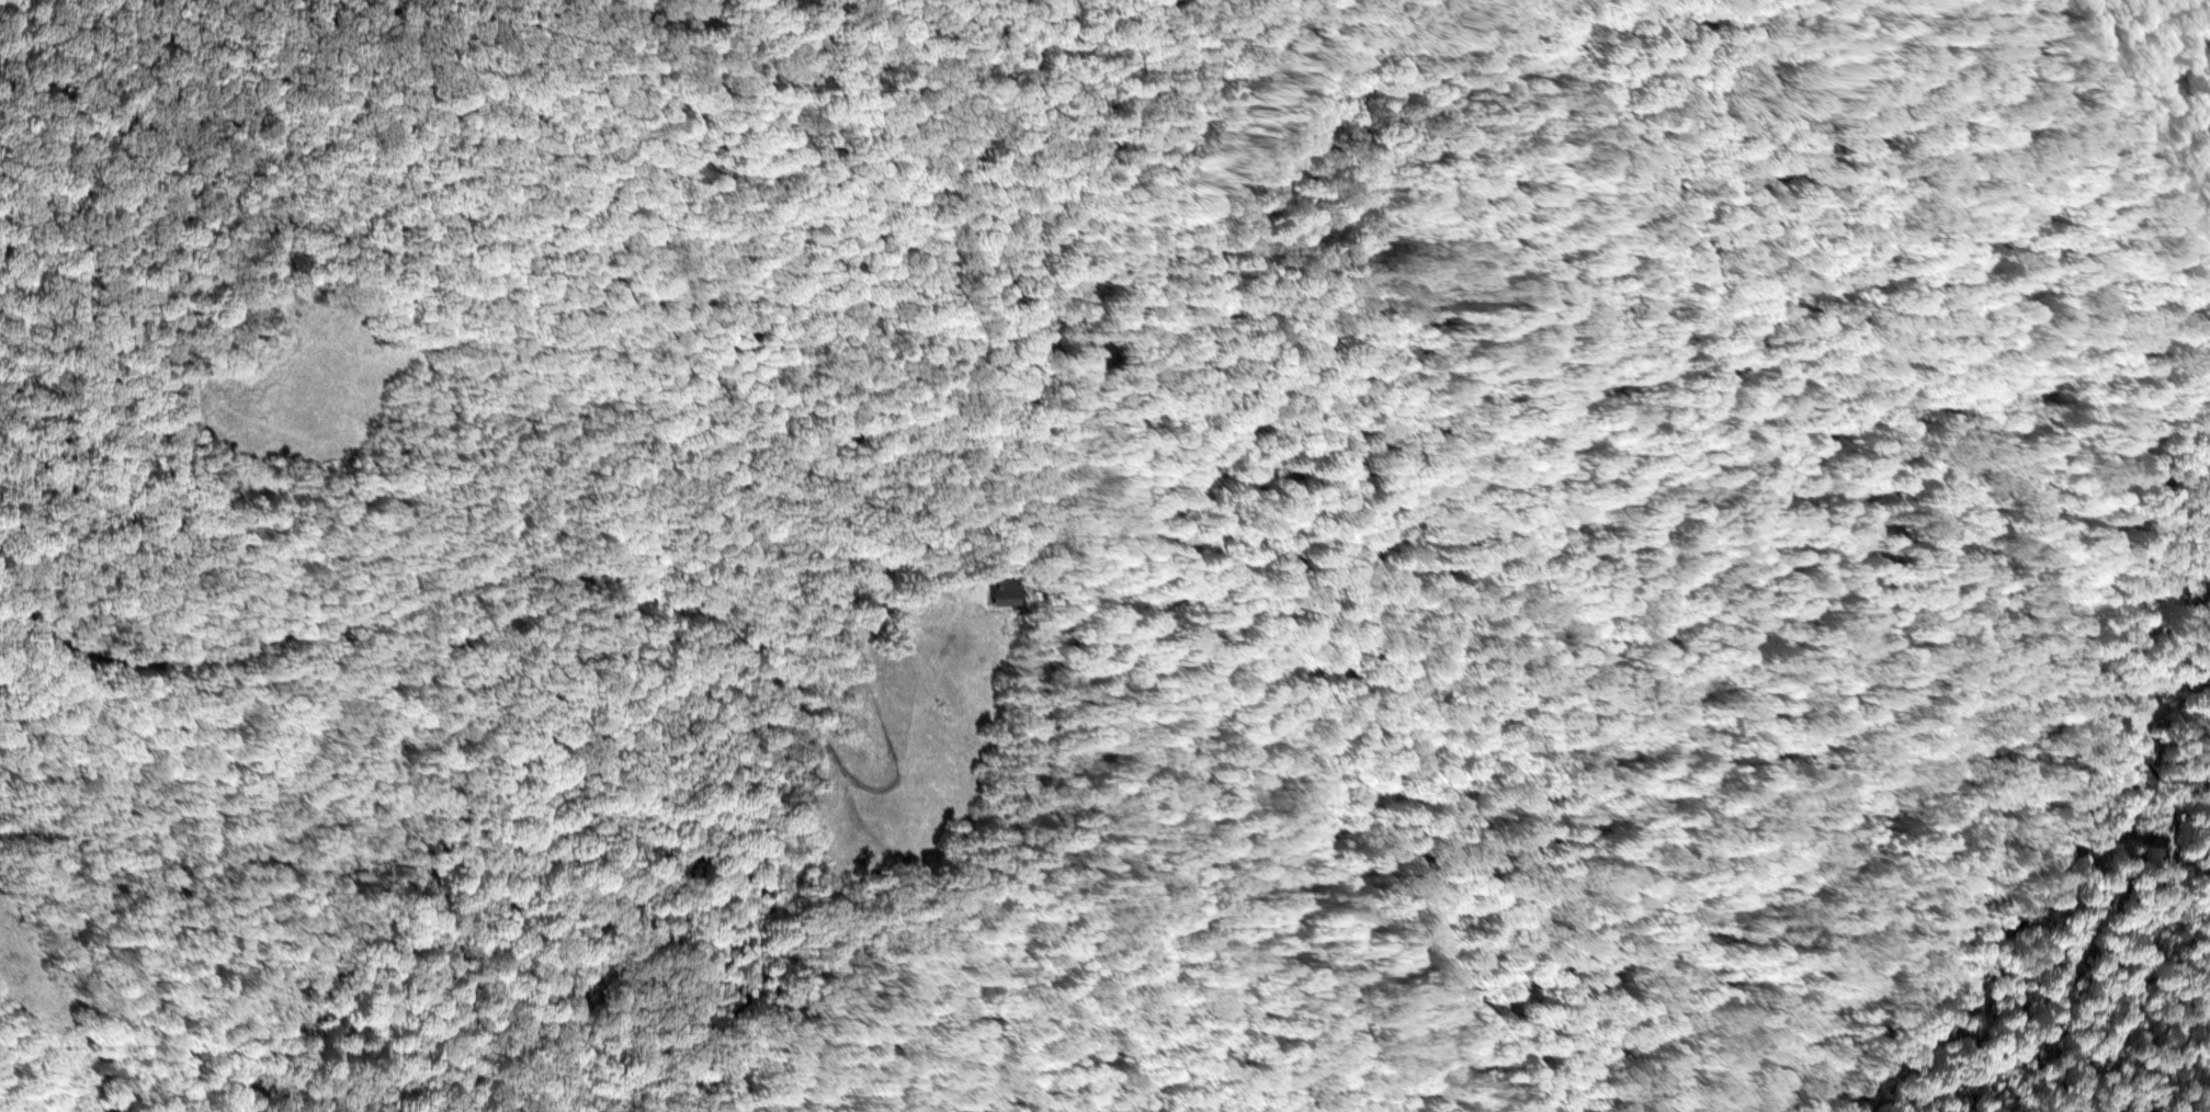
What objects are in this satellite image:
road: (567, 574)
building: (1009, 591)
road: (341, 833)

